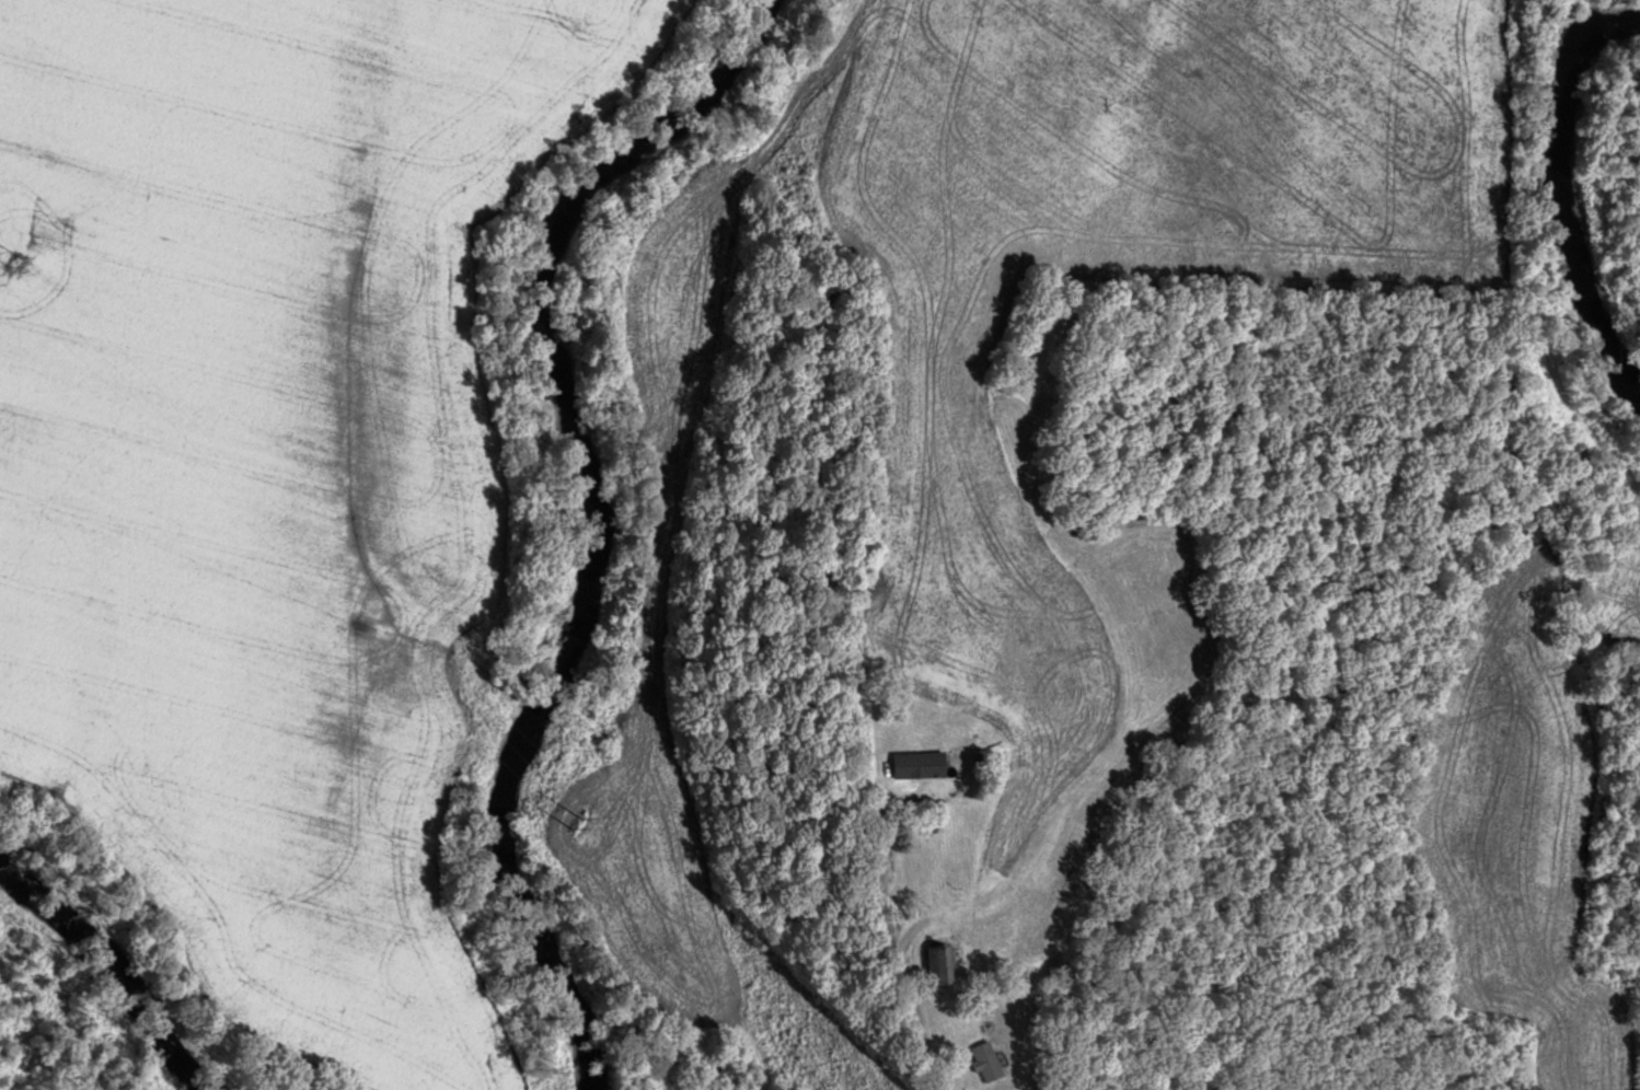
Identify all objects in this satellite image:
power tower: (9, 254)
building: (917, 764)
power tower: (570, 815)
building: (939, 965)
road: (904, 979)
building: (984, 1062)

